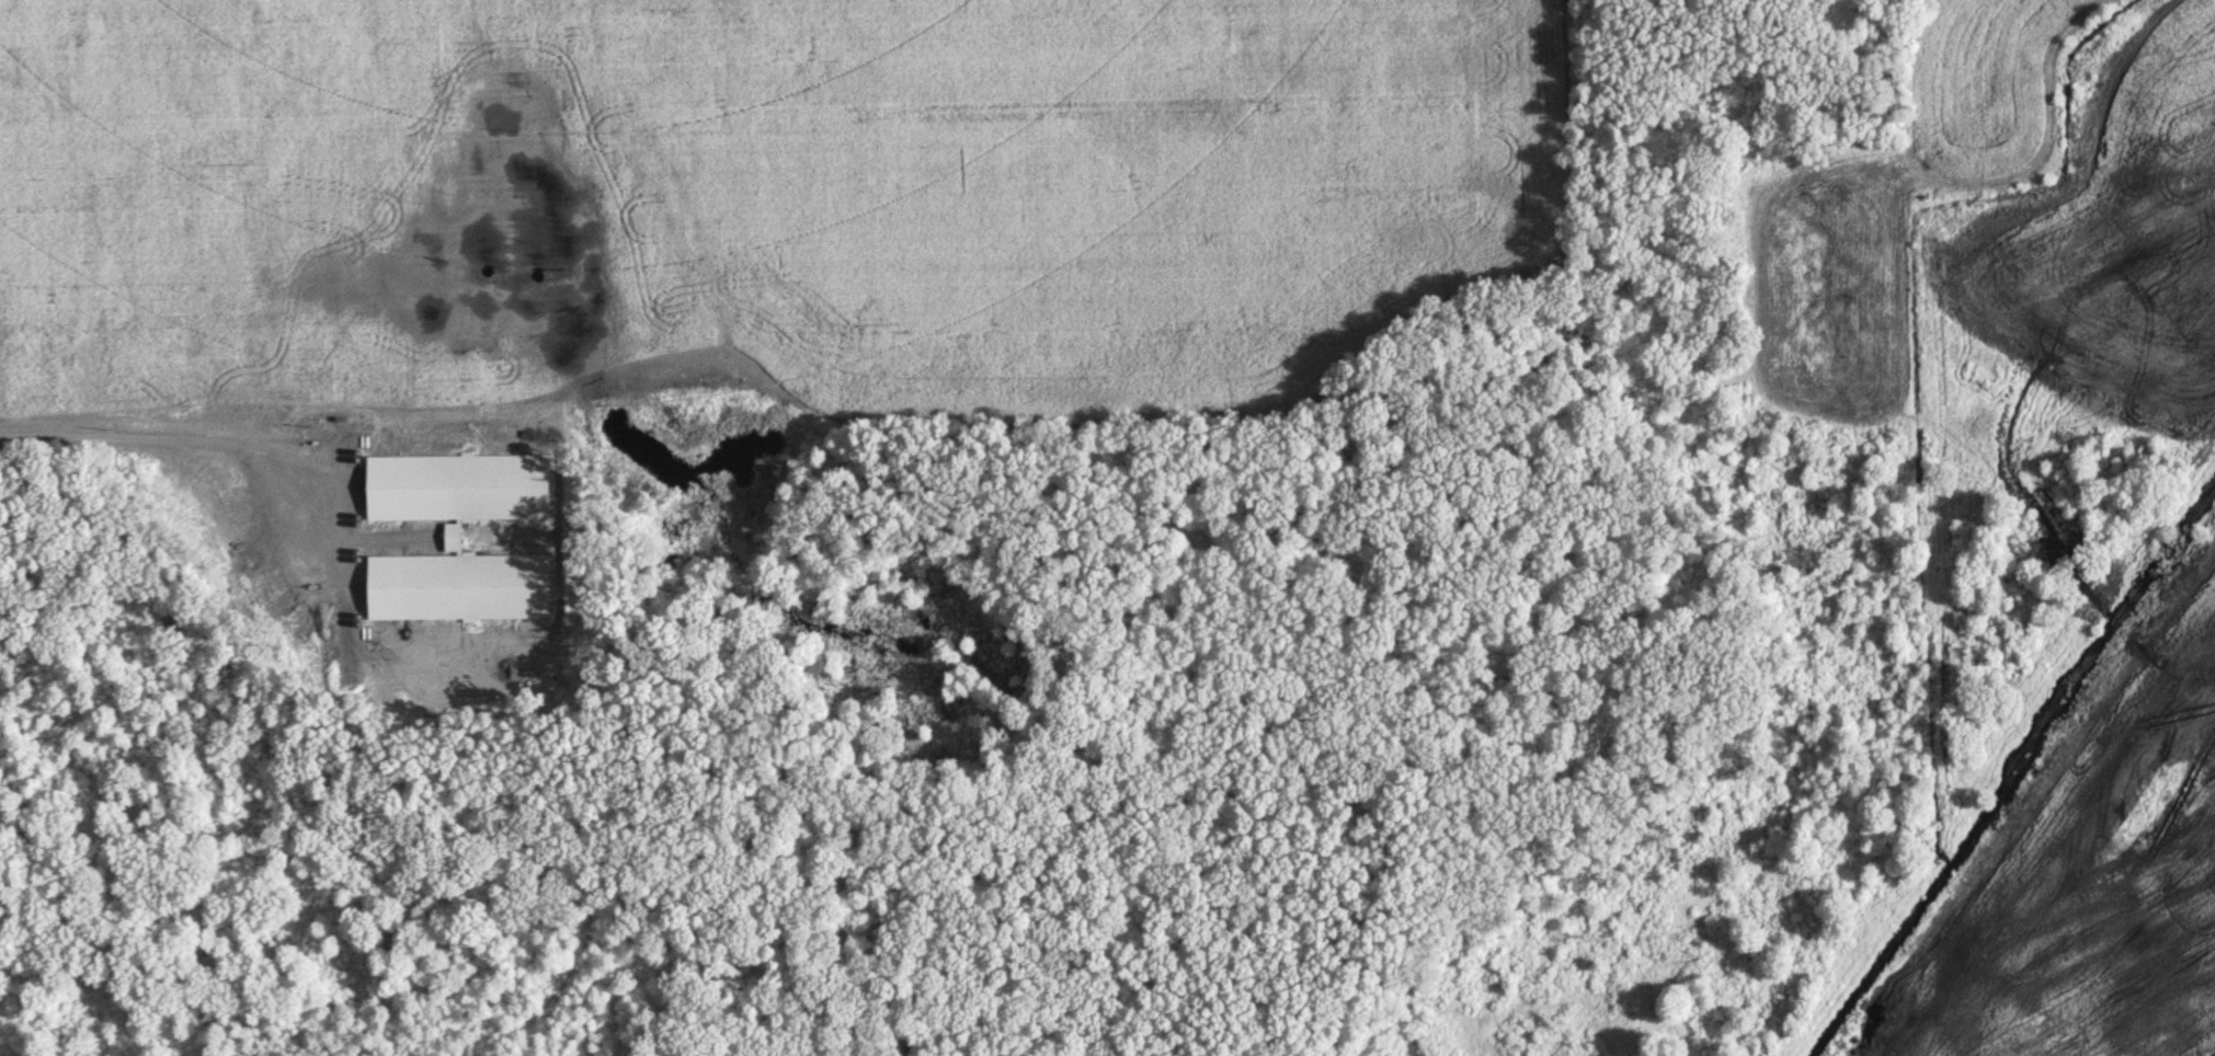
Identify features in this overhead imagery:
road: (93, 448)

